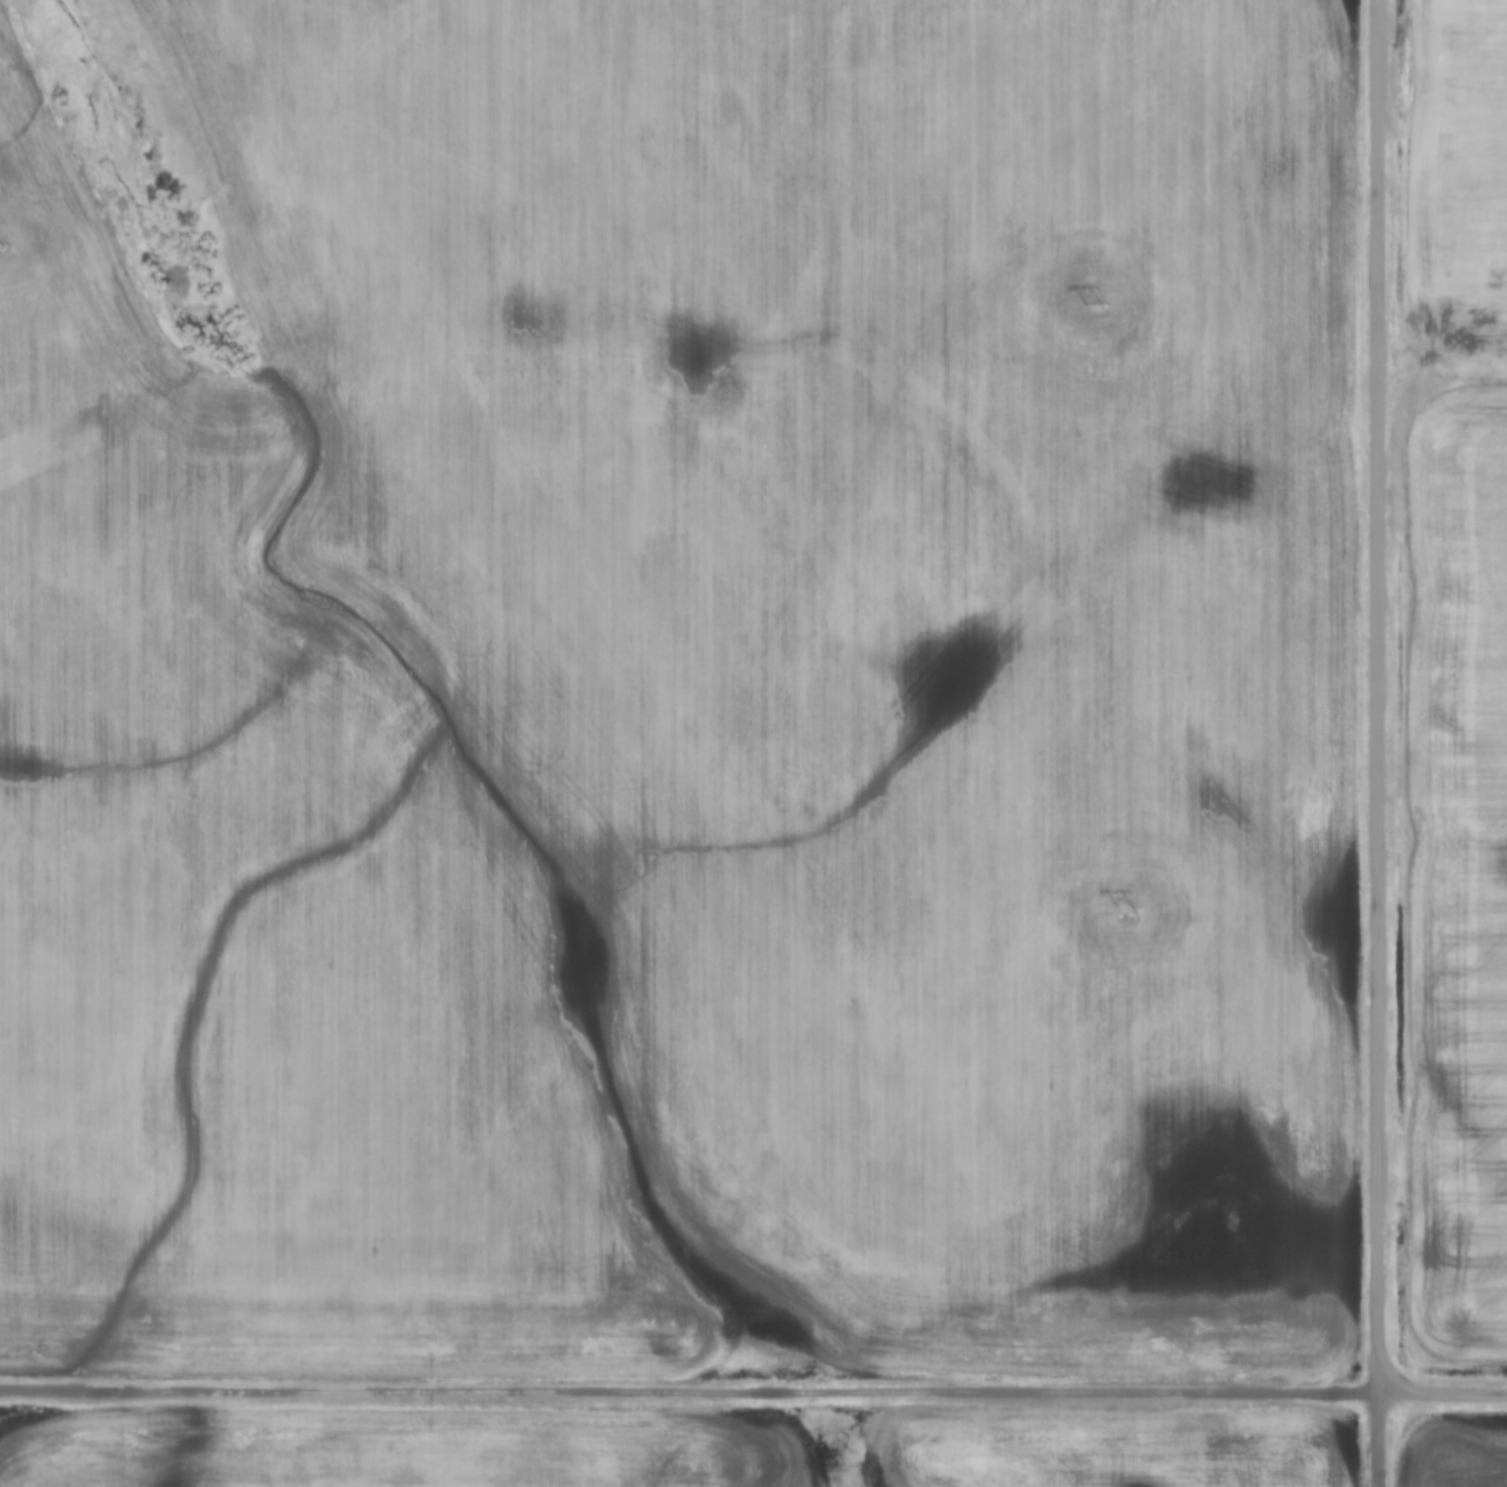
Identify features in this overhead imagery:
power tower: (1096, 310)
road: (1376, 695)
power tower: (1129, 910)
road: (688, 1391)
road: (1441, 1392)
road: (1377, 1438)

